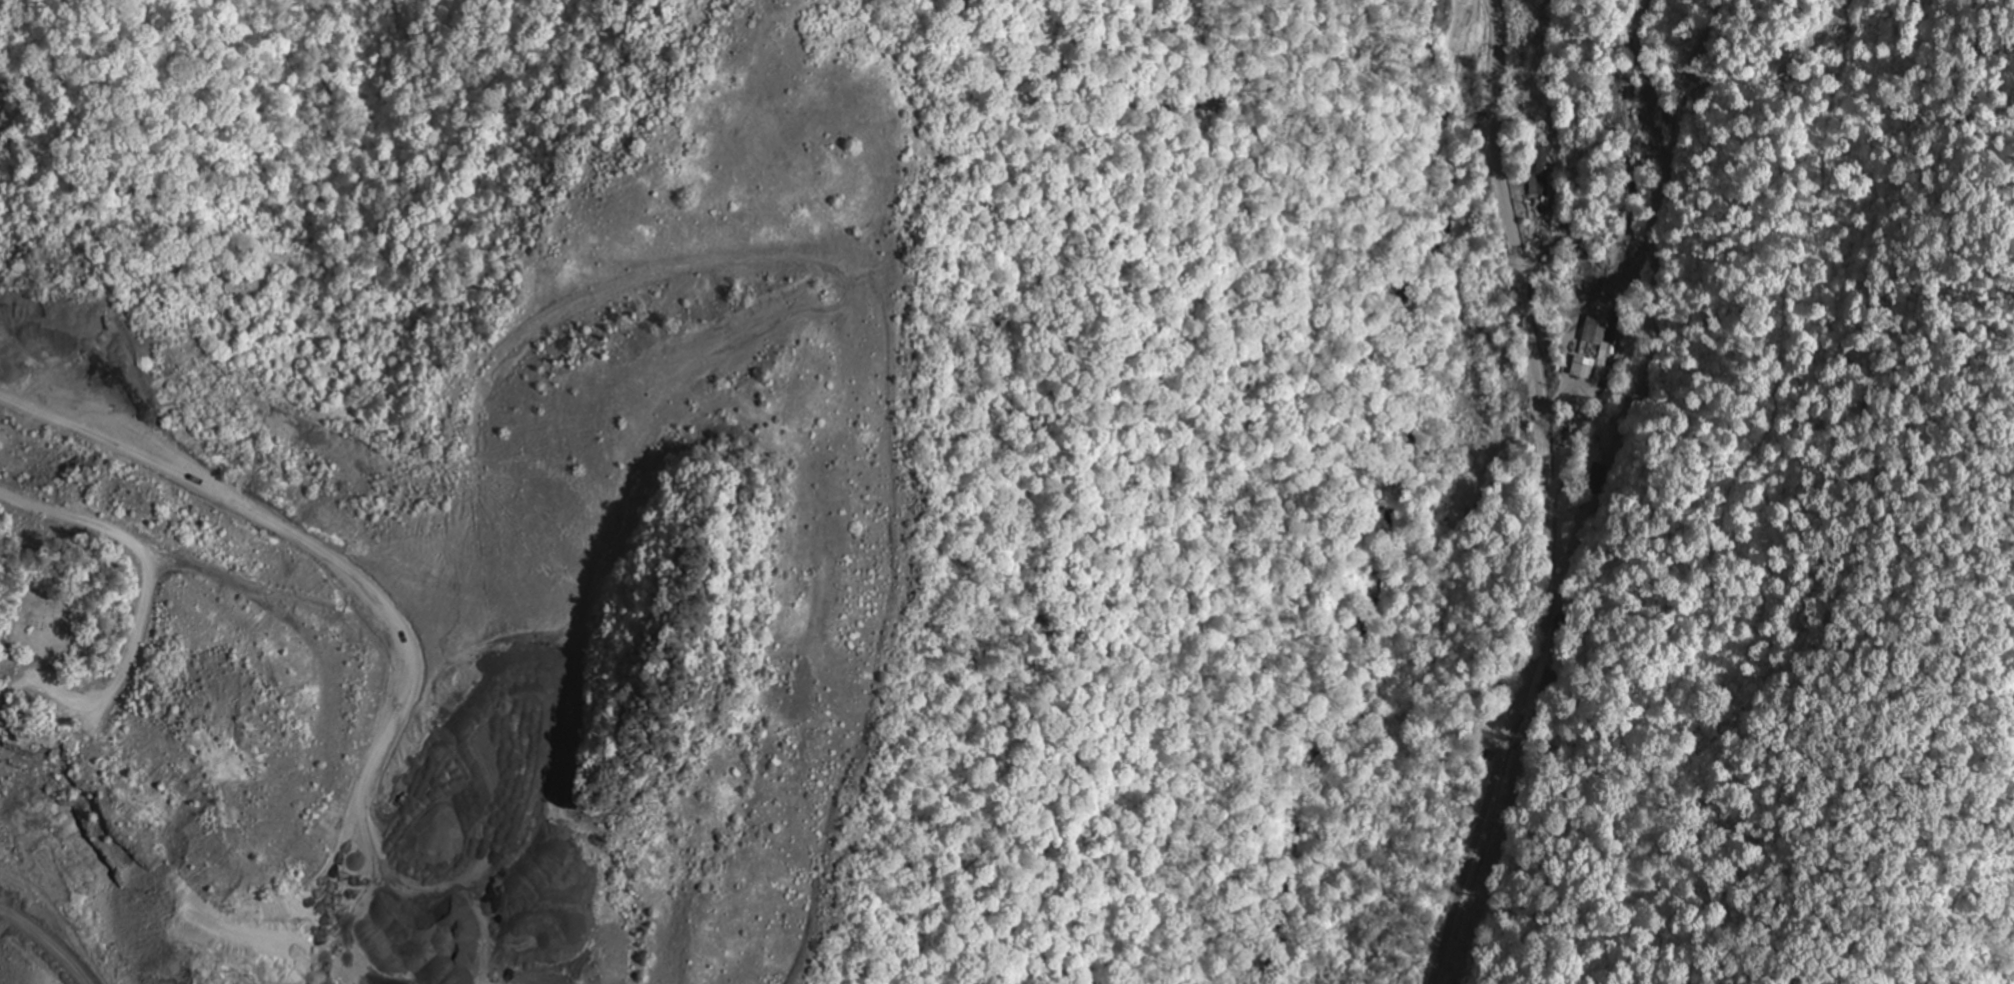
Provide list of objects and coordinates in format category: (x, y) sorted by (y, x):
building: (1595, 331)
building: (1583, 368)
road: (1547, 497)
road: (360, 587)

